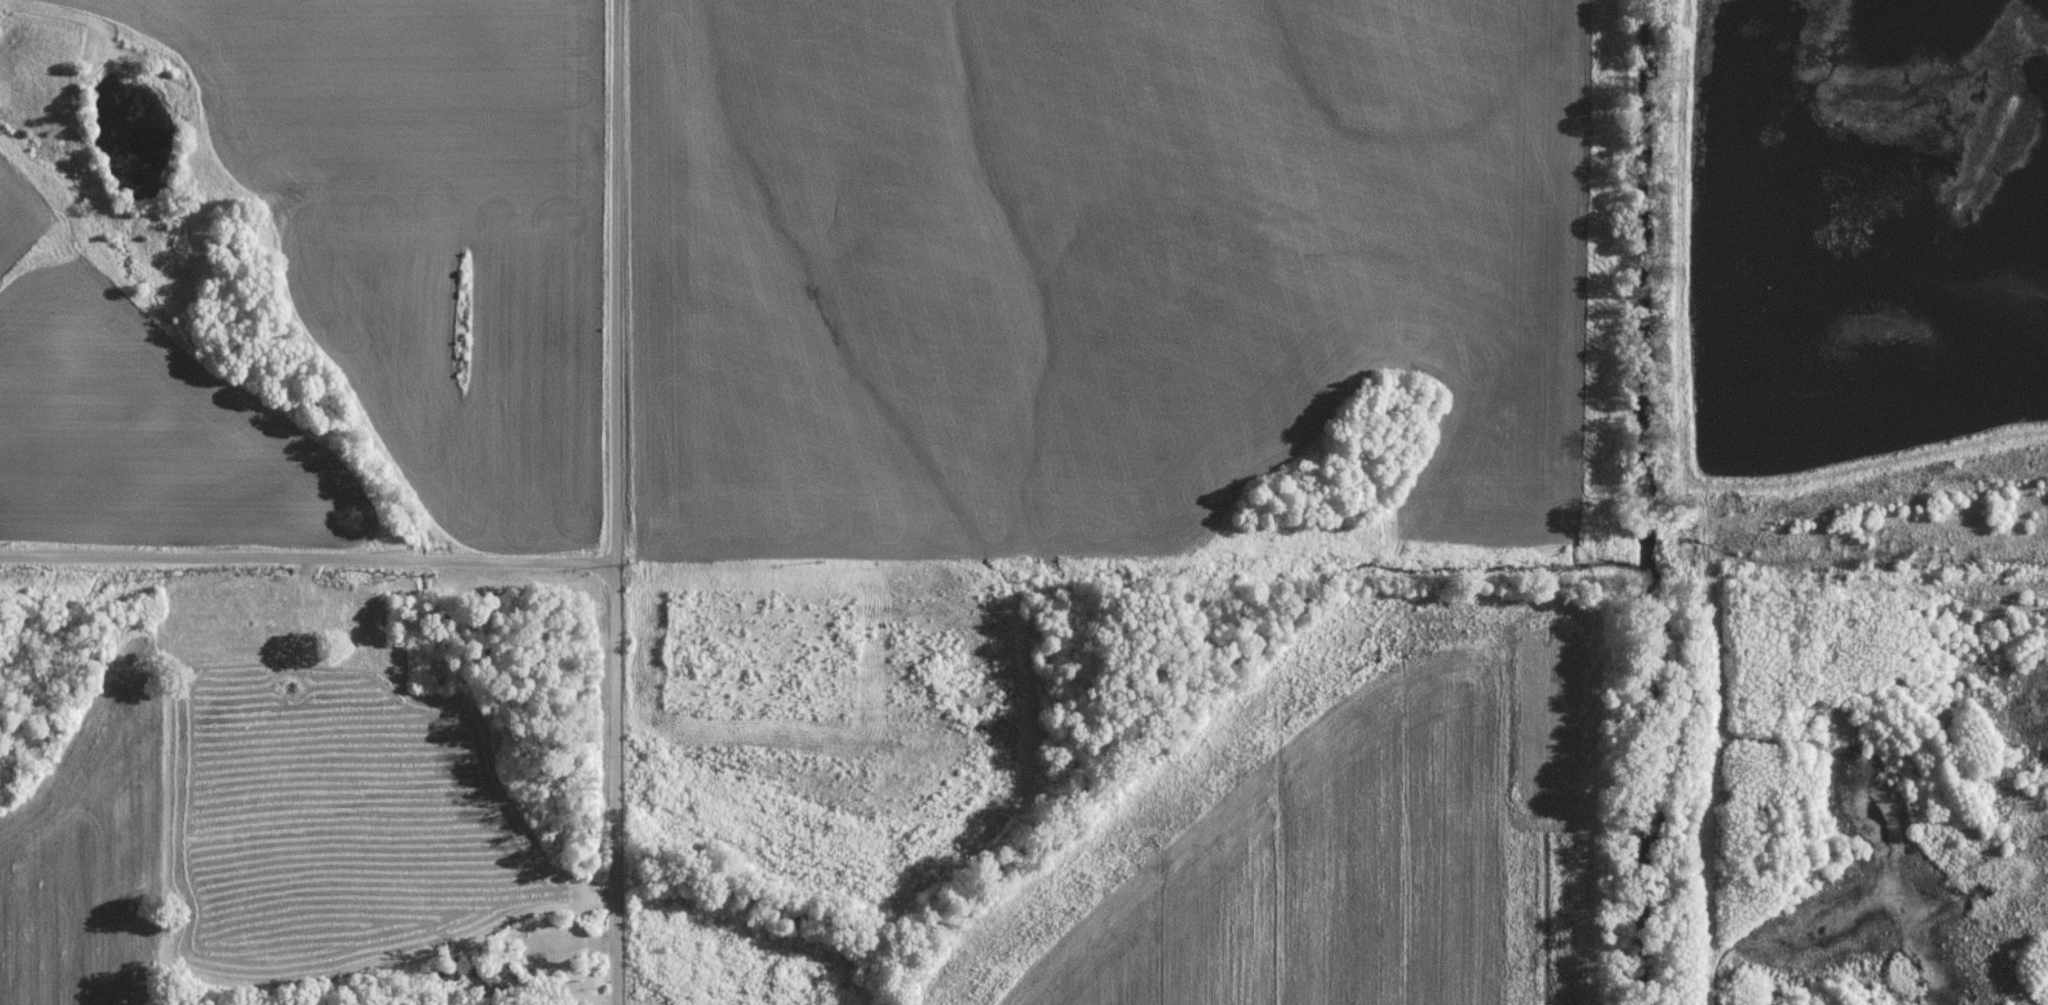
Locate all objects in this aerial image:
road: (617, 502)
road: (308, 561)

